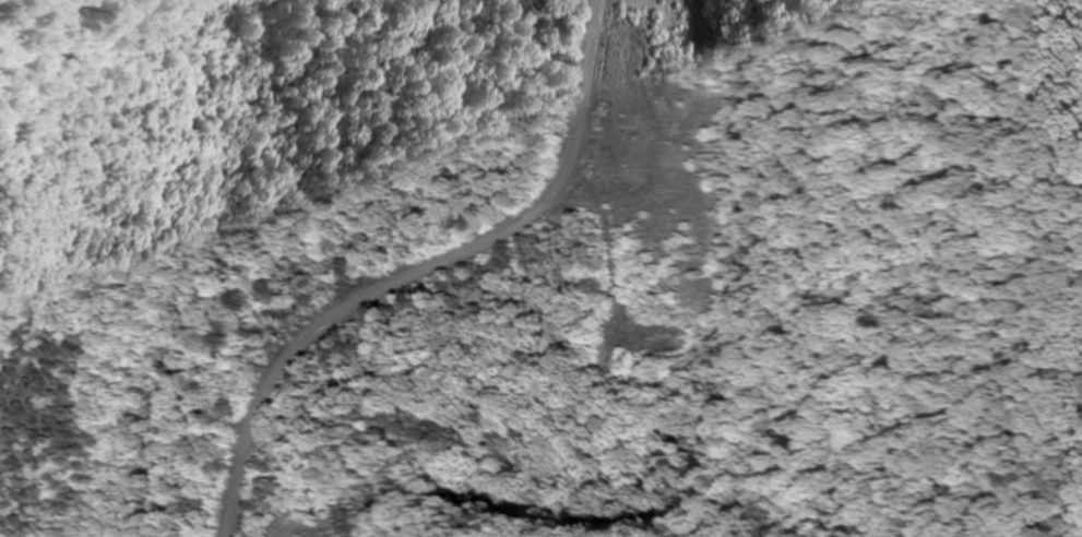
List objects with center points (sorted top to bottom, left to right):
road: (424, 267)

